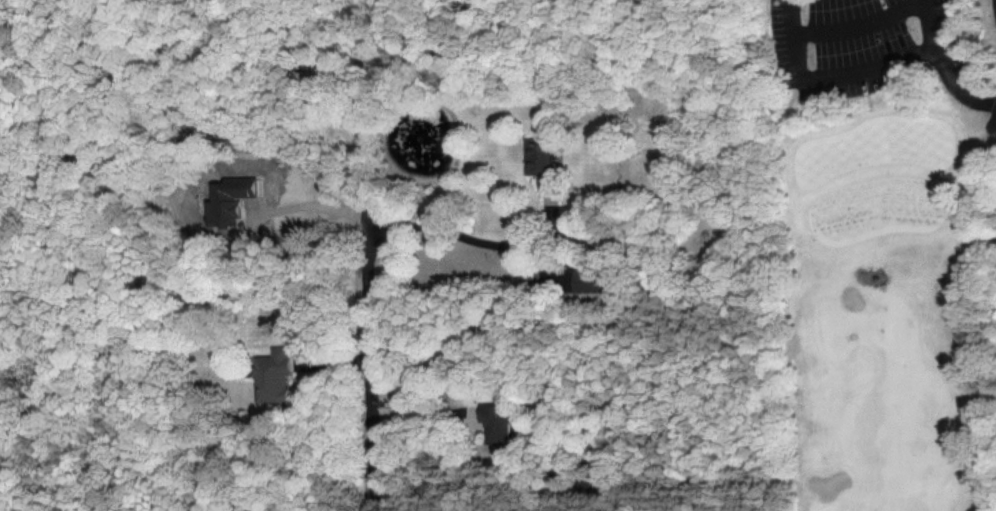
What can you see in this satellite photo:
parking lot: (852, 29)
road: (942, 63)
road: (829, 73)
building: (540, 159)
building: (228, 201)
road: (318, 206)
park: (879, 254)
road: (368, 265)
building: (587, 281)
road: (336, 364)
building: (275, 376)
building: (498, 423)
building: (268, 510)

